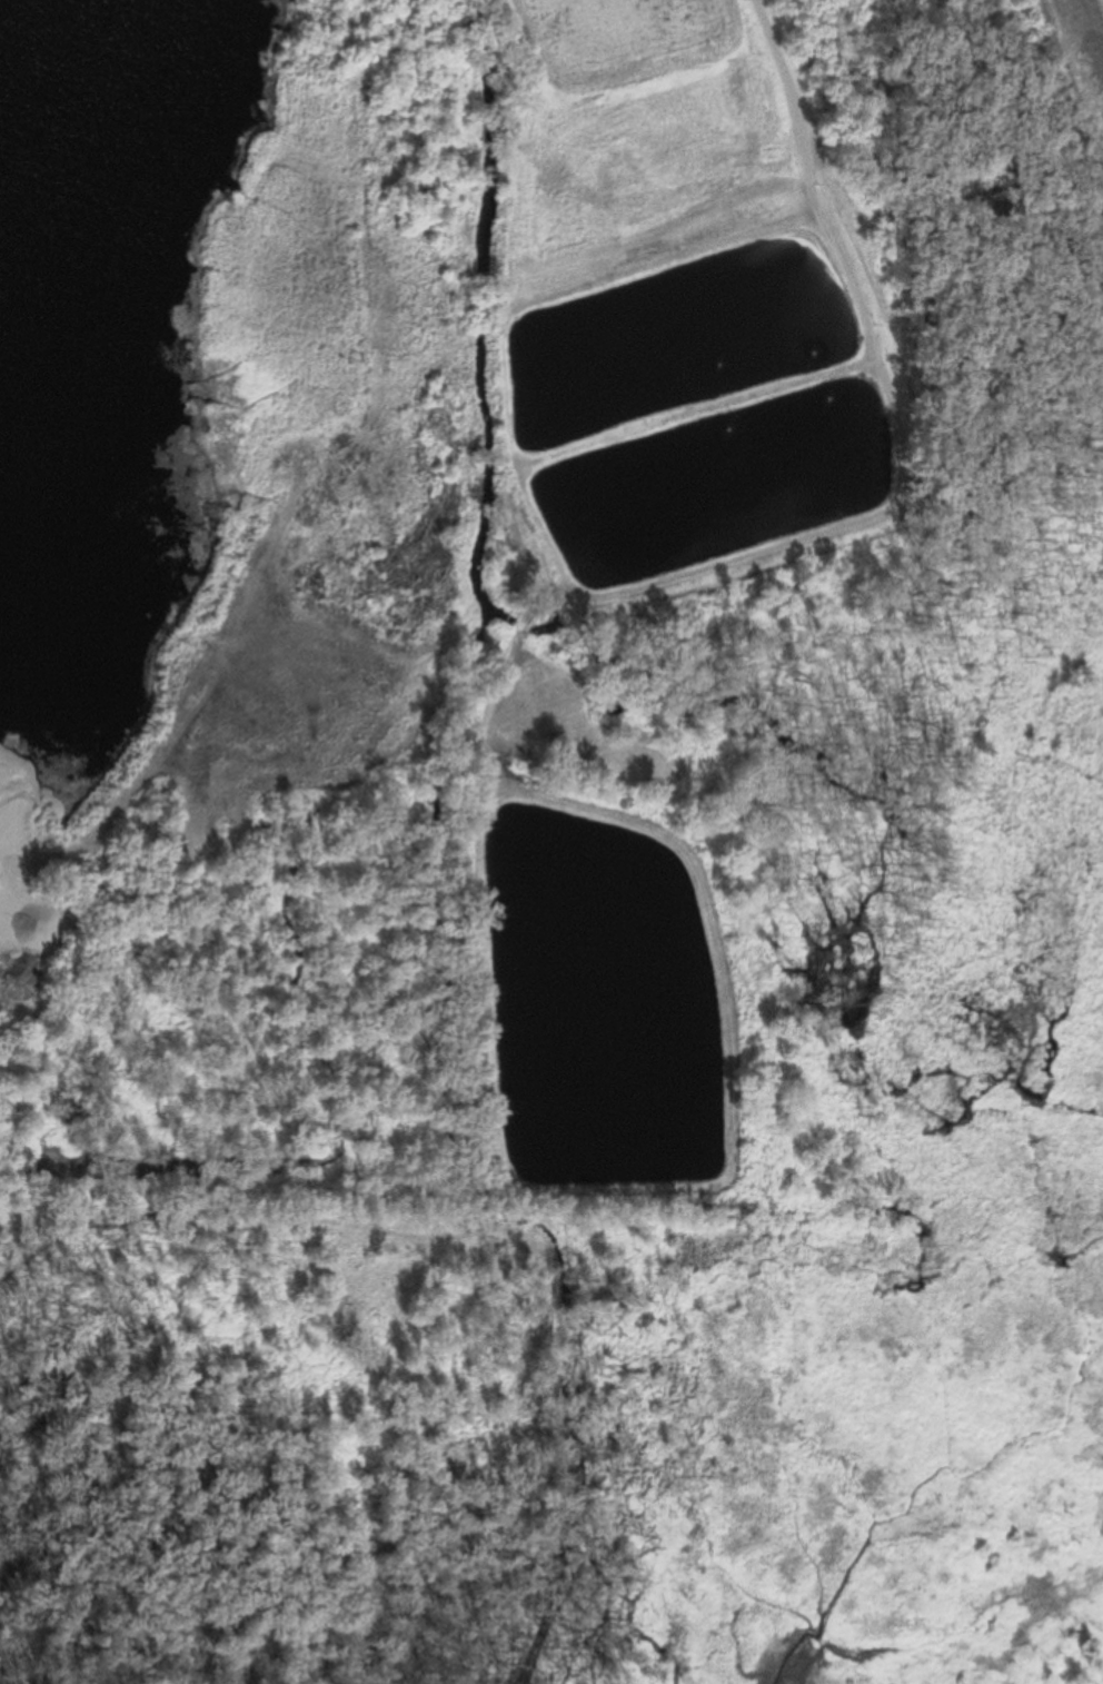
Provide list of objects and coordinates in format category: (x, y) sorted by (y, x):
road: (1100, 7)
road: (895, 515)

